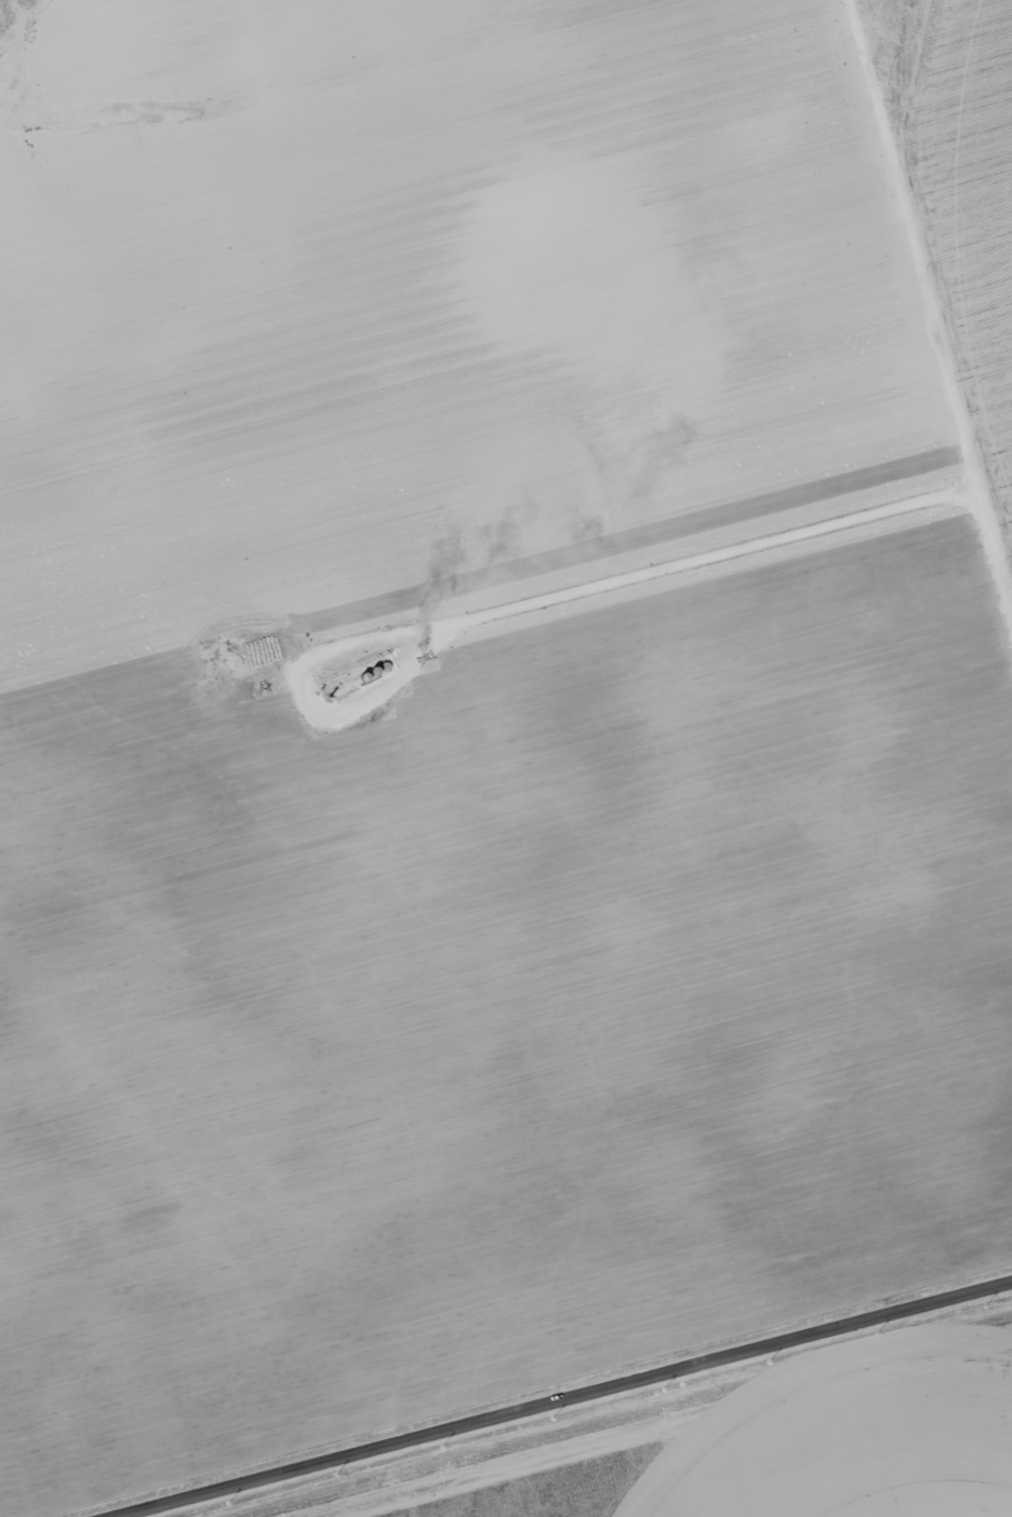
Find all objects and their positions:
road: (571, 1395)

